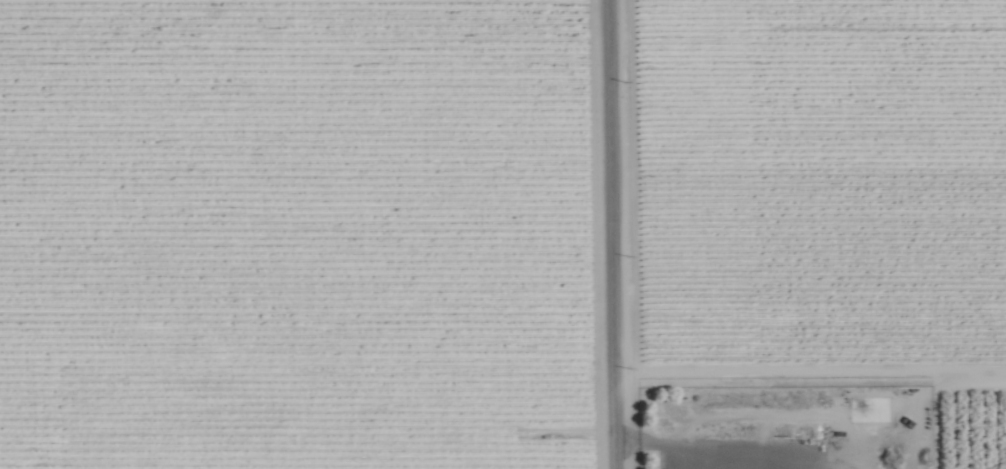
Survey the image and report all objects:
crop: (503, 234)
road: (612, 234)
road: (810, 368)
building: (724, 406)
building: (870, 409)
road: (657, 444)

